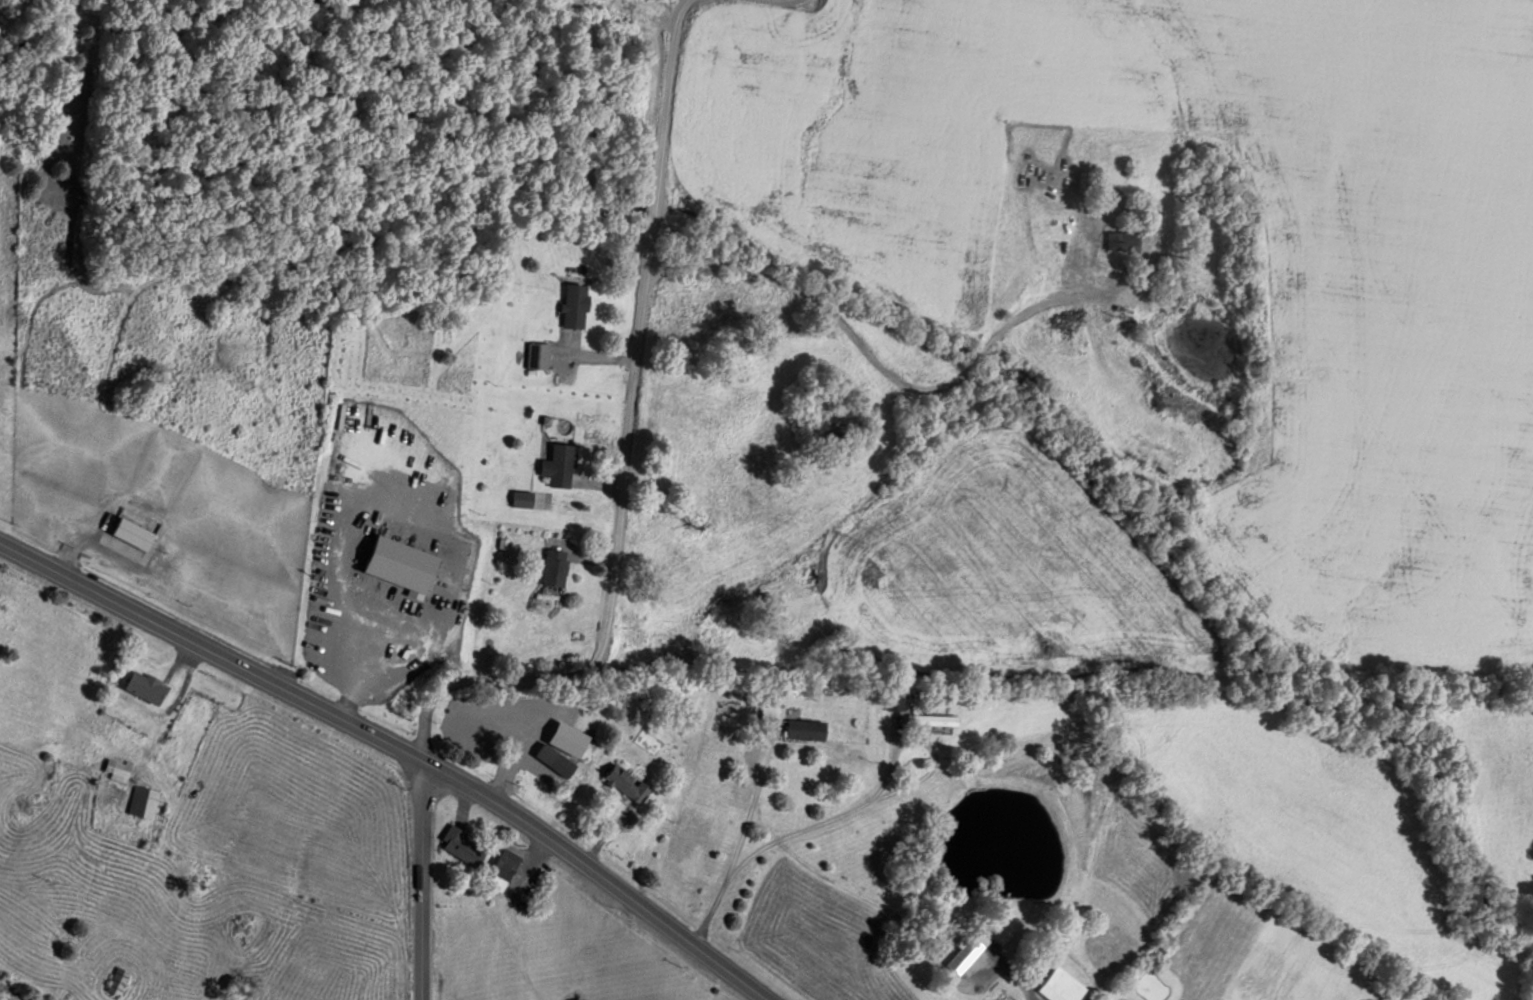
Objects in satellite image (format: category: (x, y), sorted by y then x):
building: (1124, 240)
building: (577, 306)
building: (540, 356)
road: (607, 381)
road: (848, 428)
building: (562, 466)
building: (132, 531)
building: (558, 567)
road: (369, 660)
building: (149, 686)
building: (898, 701)
building: (934, 719)
building: (808, 728)
road: (401, 744)
building: (120, 768)
building: (629, 782)
building: (146, 801)
building: (467, 847)
road: (418, 876)
building: (971, 950)
building: (121, 980)
building: (1063, 986)

